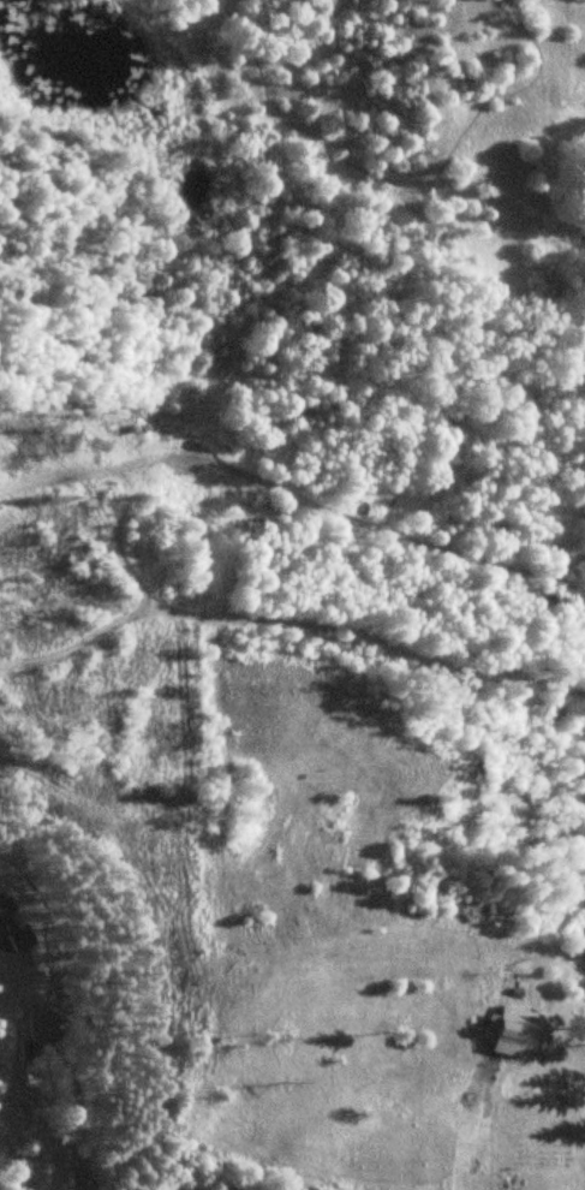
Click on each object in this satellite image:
building: (12, 927)
building: (54, 1025)

